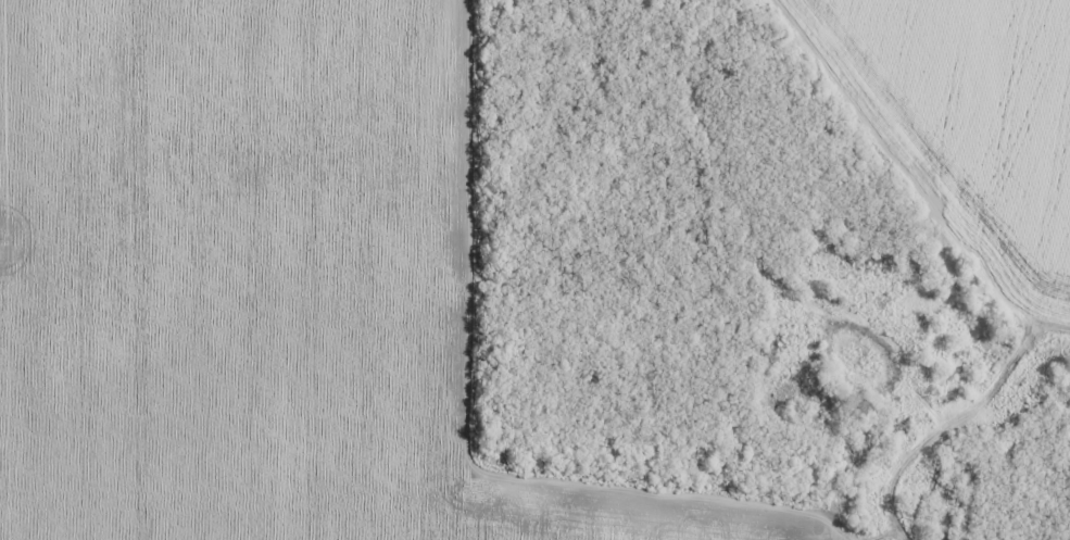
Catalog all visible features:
crop: (962, 118)
crop: (262, 284)
river: (860, 359)

